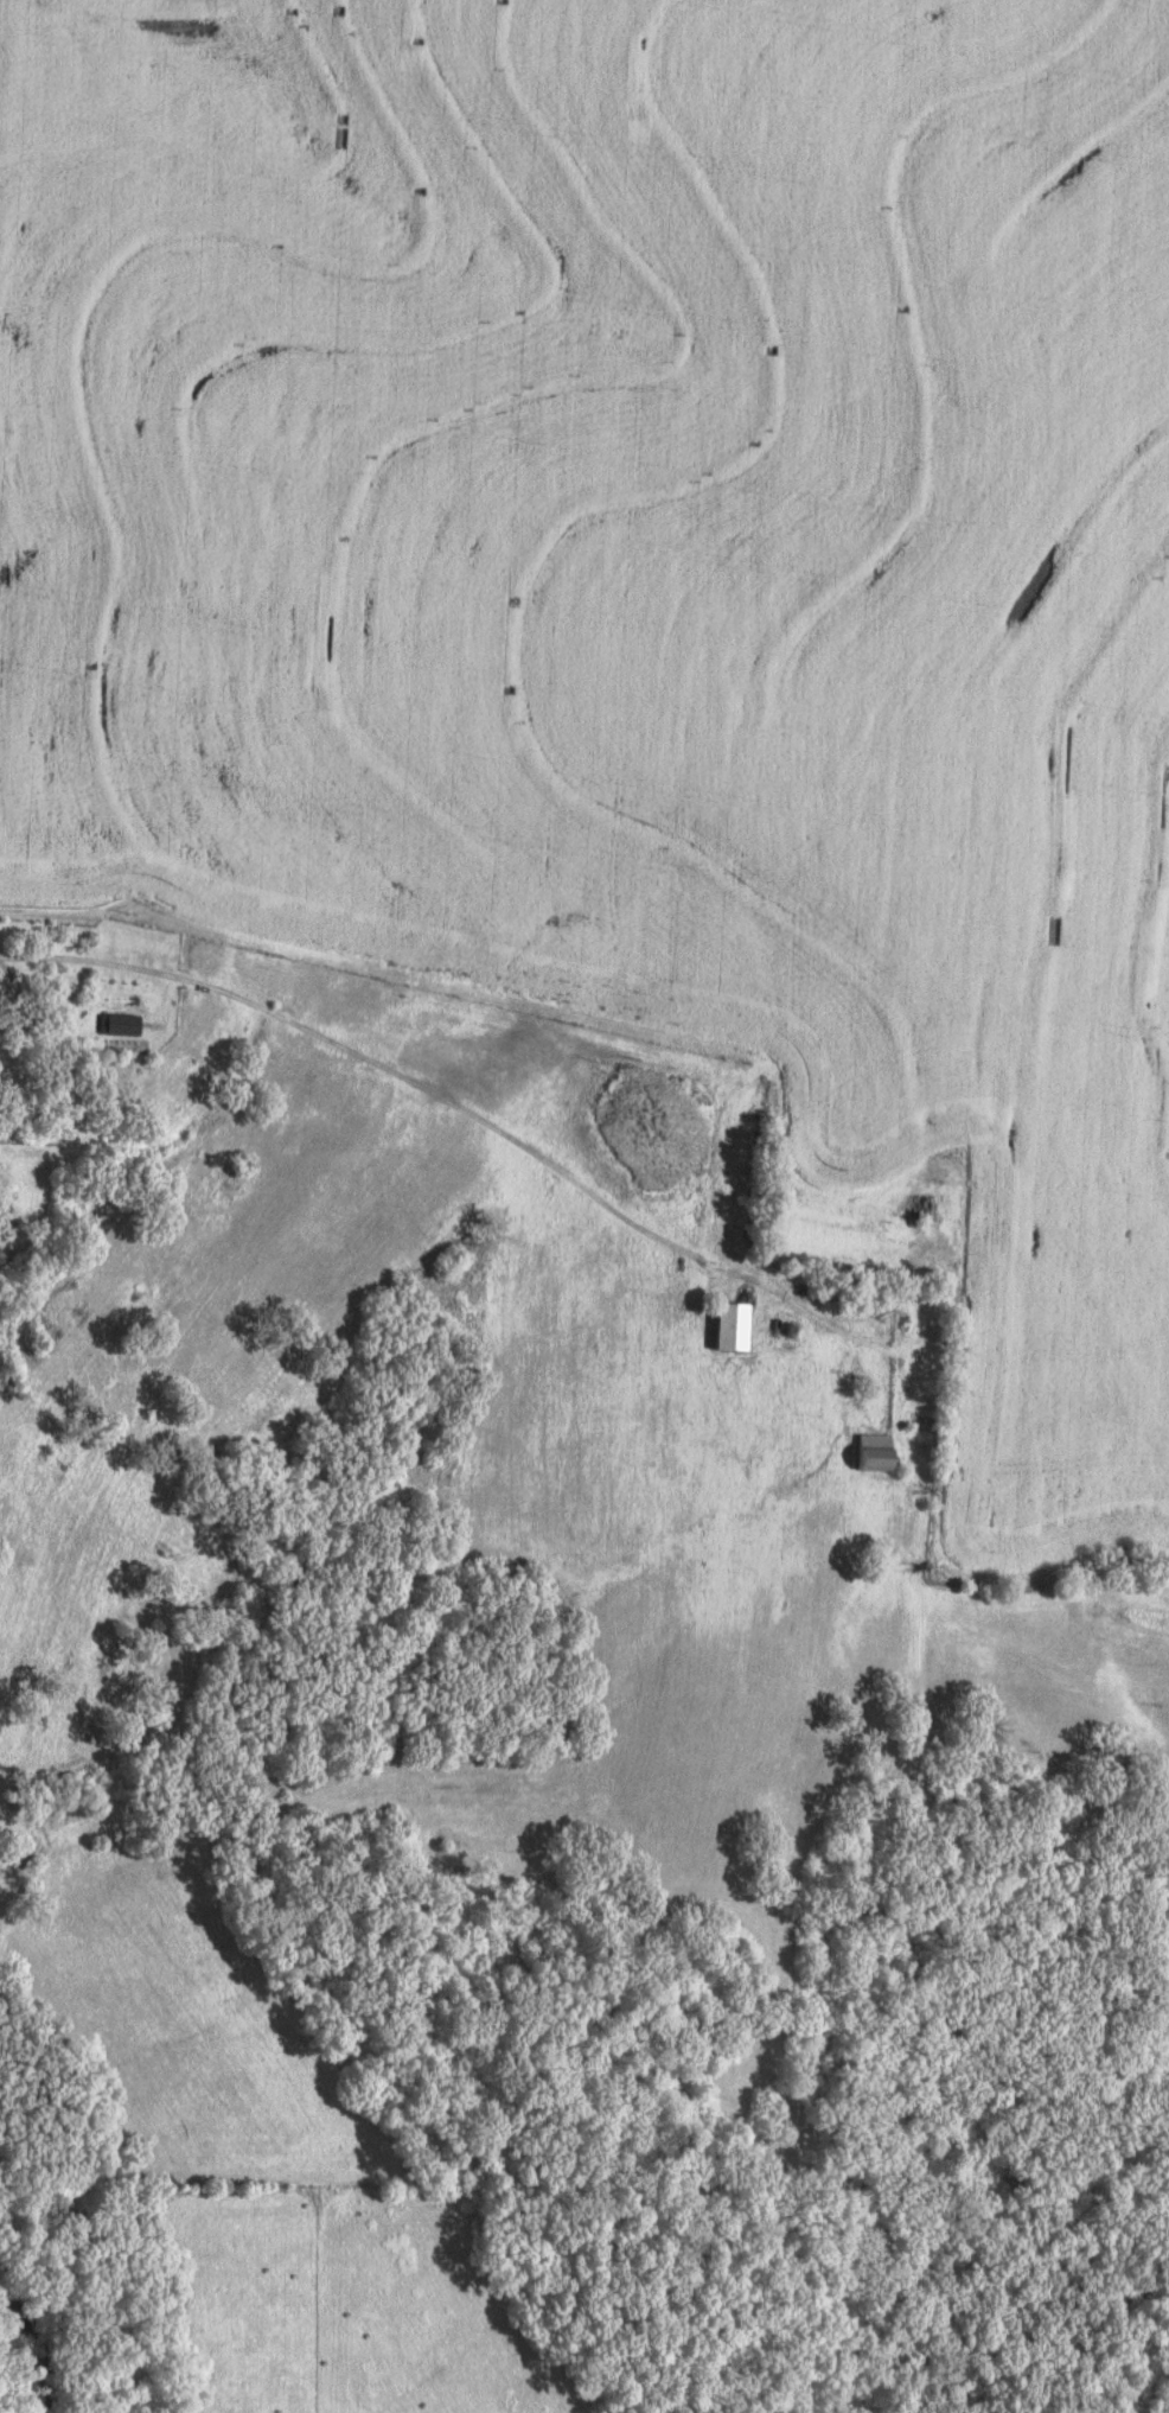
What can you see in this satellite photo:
building: (120, 1021)
road: (496, 1128)
building: (921, 1204)
building: (732, 1324)
building: (876, 1450)

